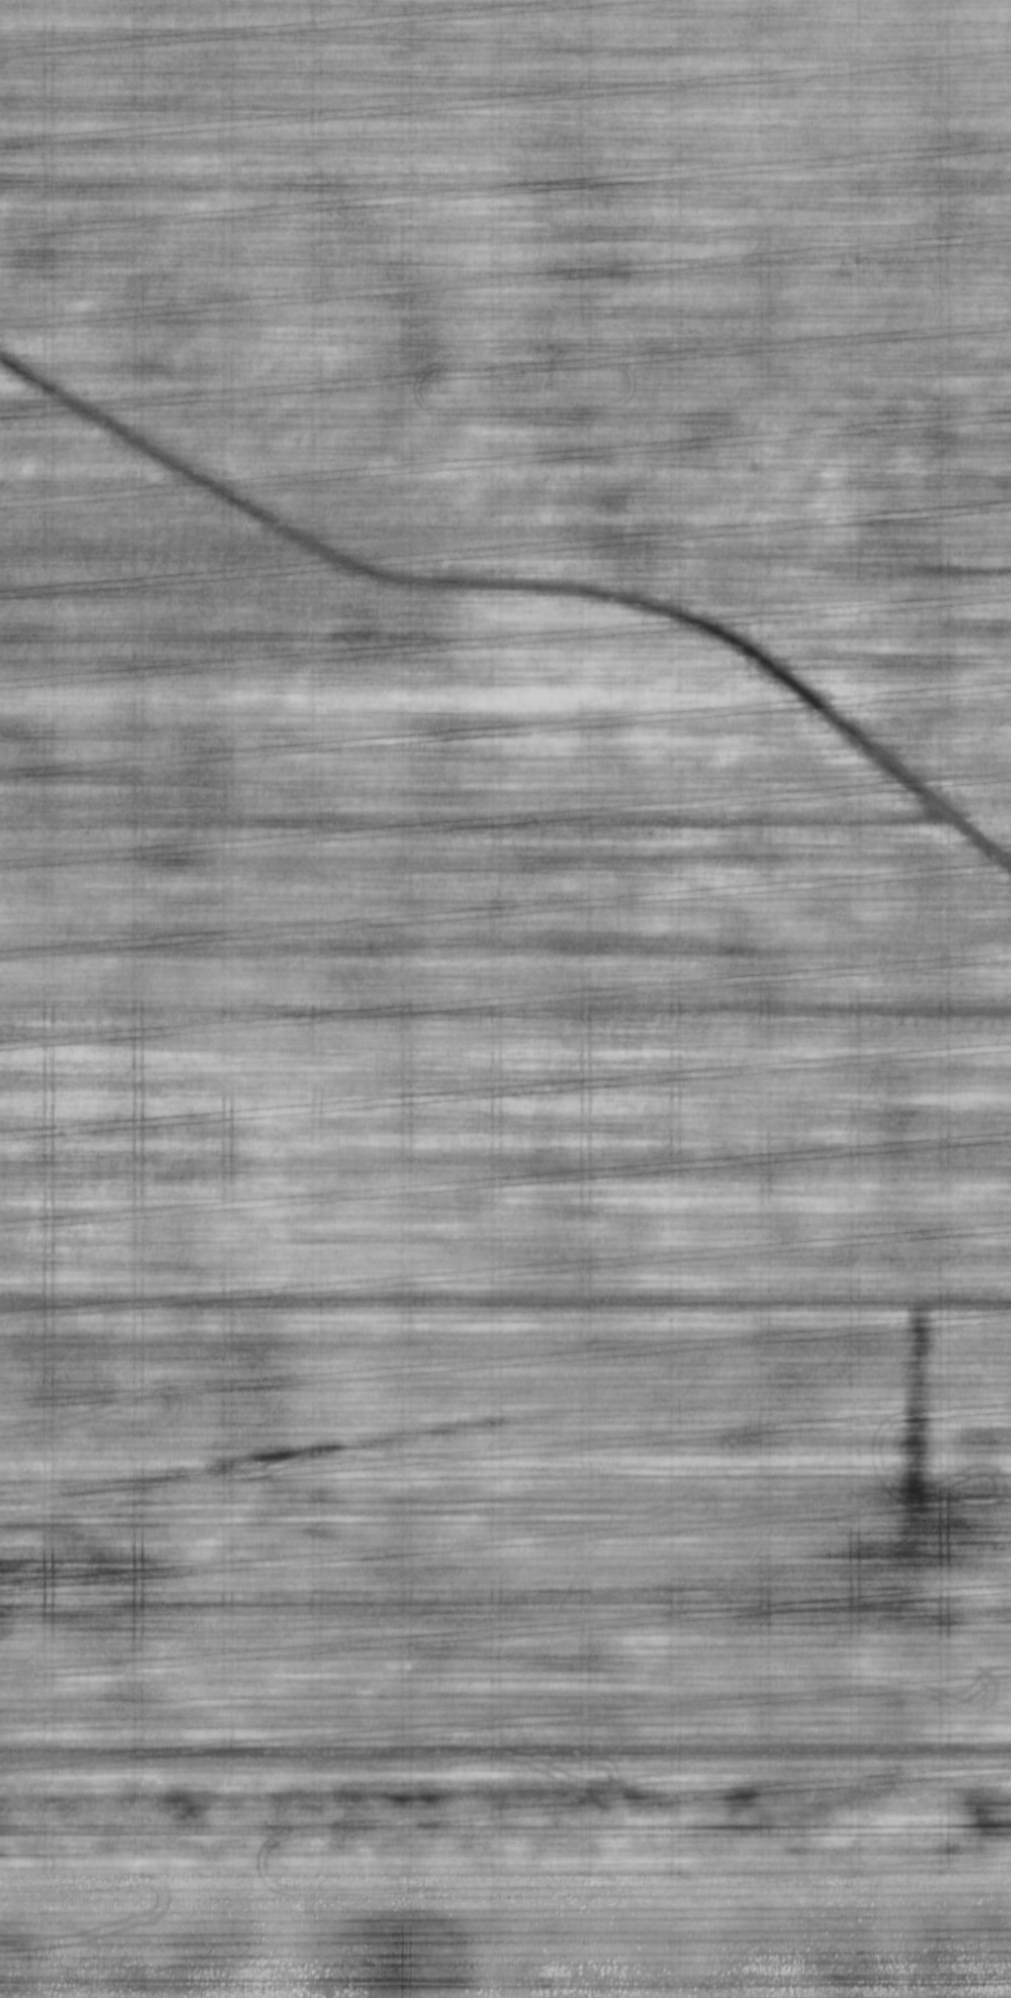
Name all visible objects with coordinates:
crop: (505, 999)

